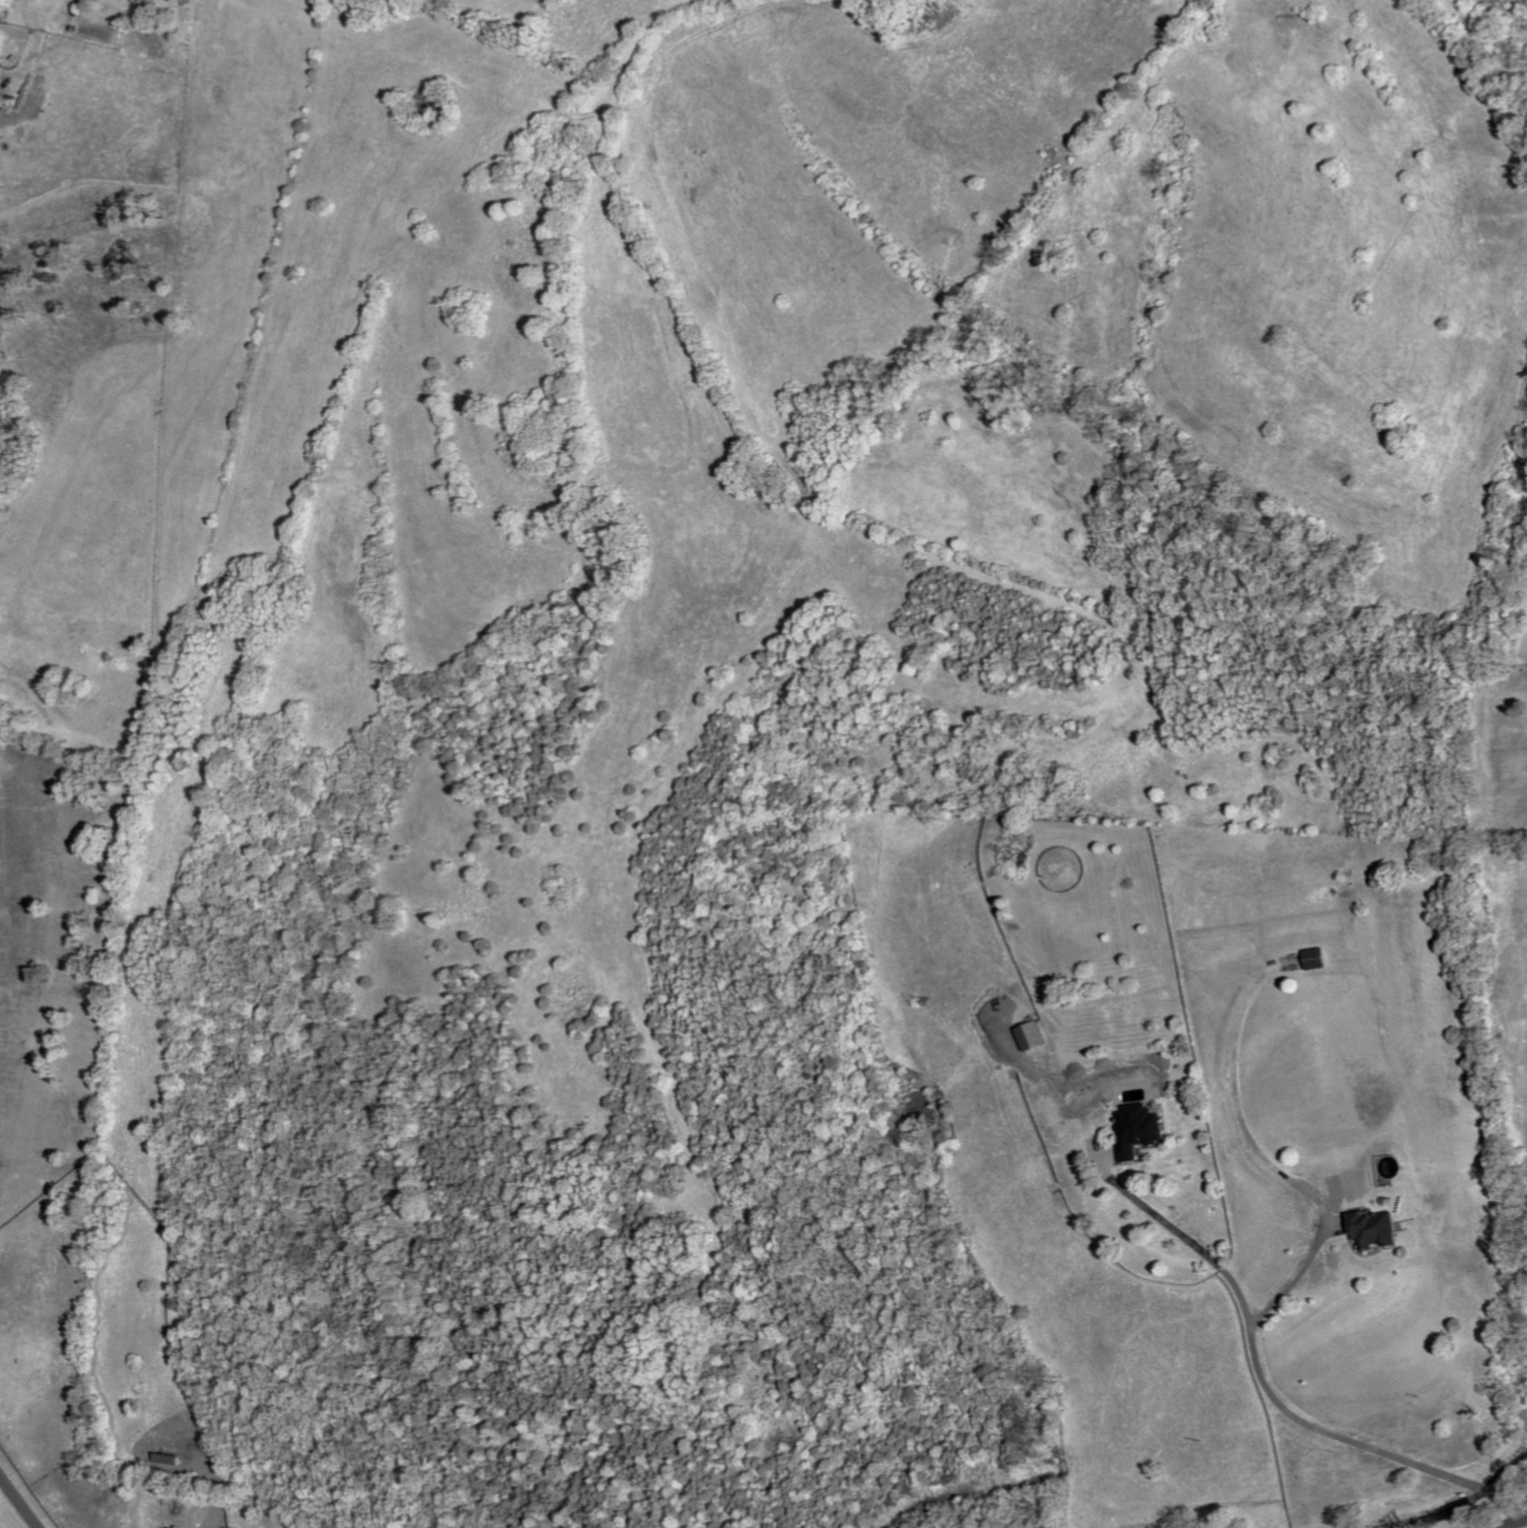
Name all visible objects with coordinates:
building: (1320, 958)
building: (1035, 1036)
road: (1241, 1117)
building: (1140, 1129)
building: (1379, 1227)
road: (1296, 1279)
road: (1261, 1366)
road: (1487, 1487)
road: (1512, 1496)
road: (19, 1501)
road: (1513, 1524)

